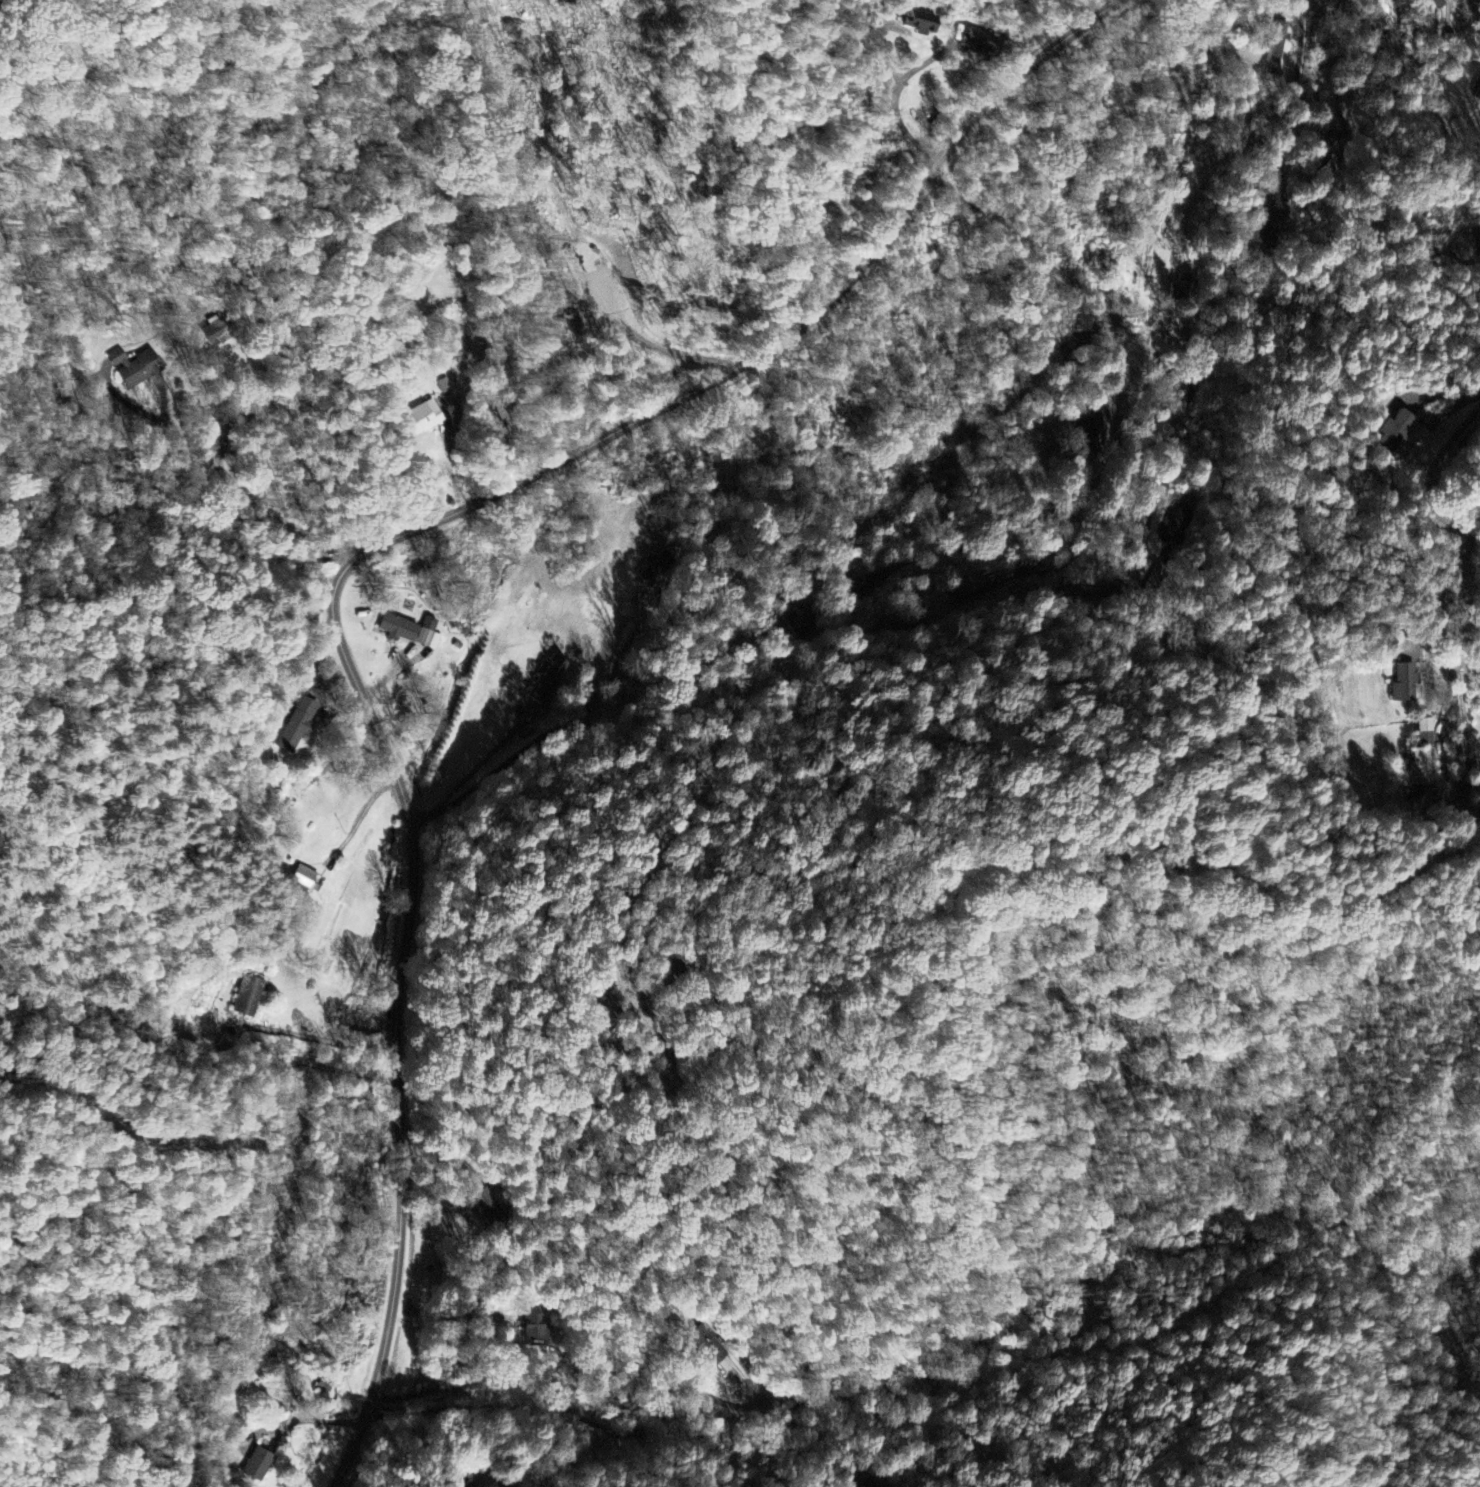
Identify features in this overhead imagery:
building: (1436, 4)
building: (925, 23)
road: (1328, 39)
building: (982, 43)
building: (1279, 51)
building: (1477, 95)
building: (1332, 132)
building: (1181, 287)
road: (1113, 328)
building: (1395, 433)
building: (1177, 526)
road: (1440, 527)
road: (356, 557)
building: (658, 568)
building: (971, 587)
road: (745, 588)
building: (411, 632)
building: (547, 681)
building: (1406, 684)
building: (299, 733)
building: (1424, 756)
building: (306, 878)
building: (248, 997)
building: (487, 1207)
building: (868, 1484)

